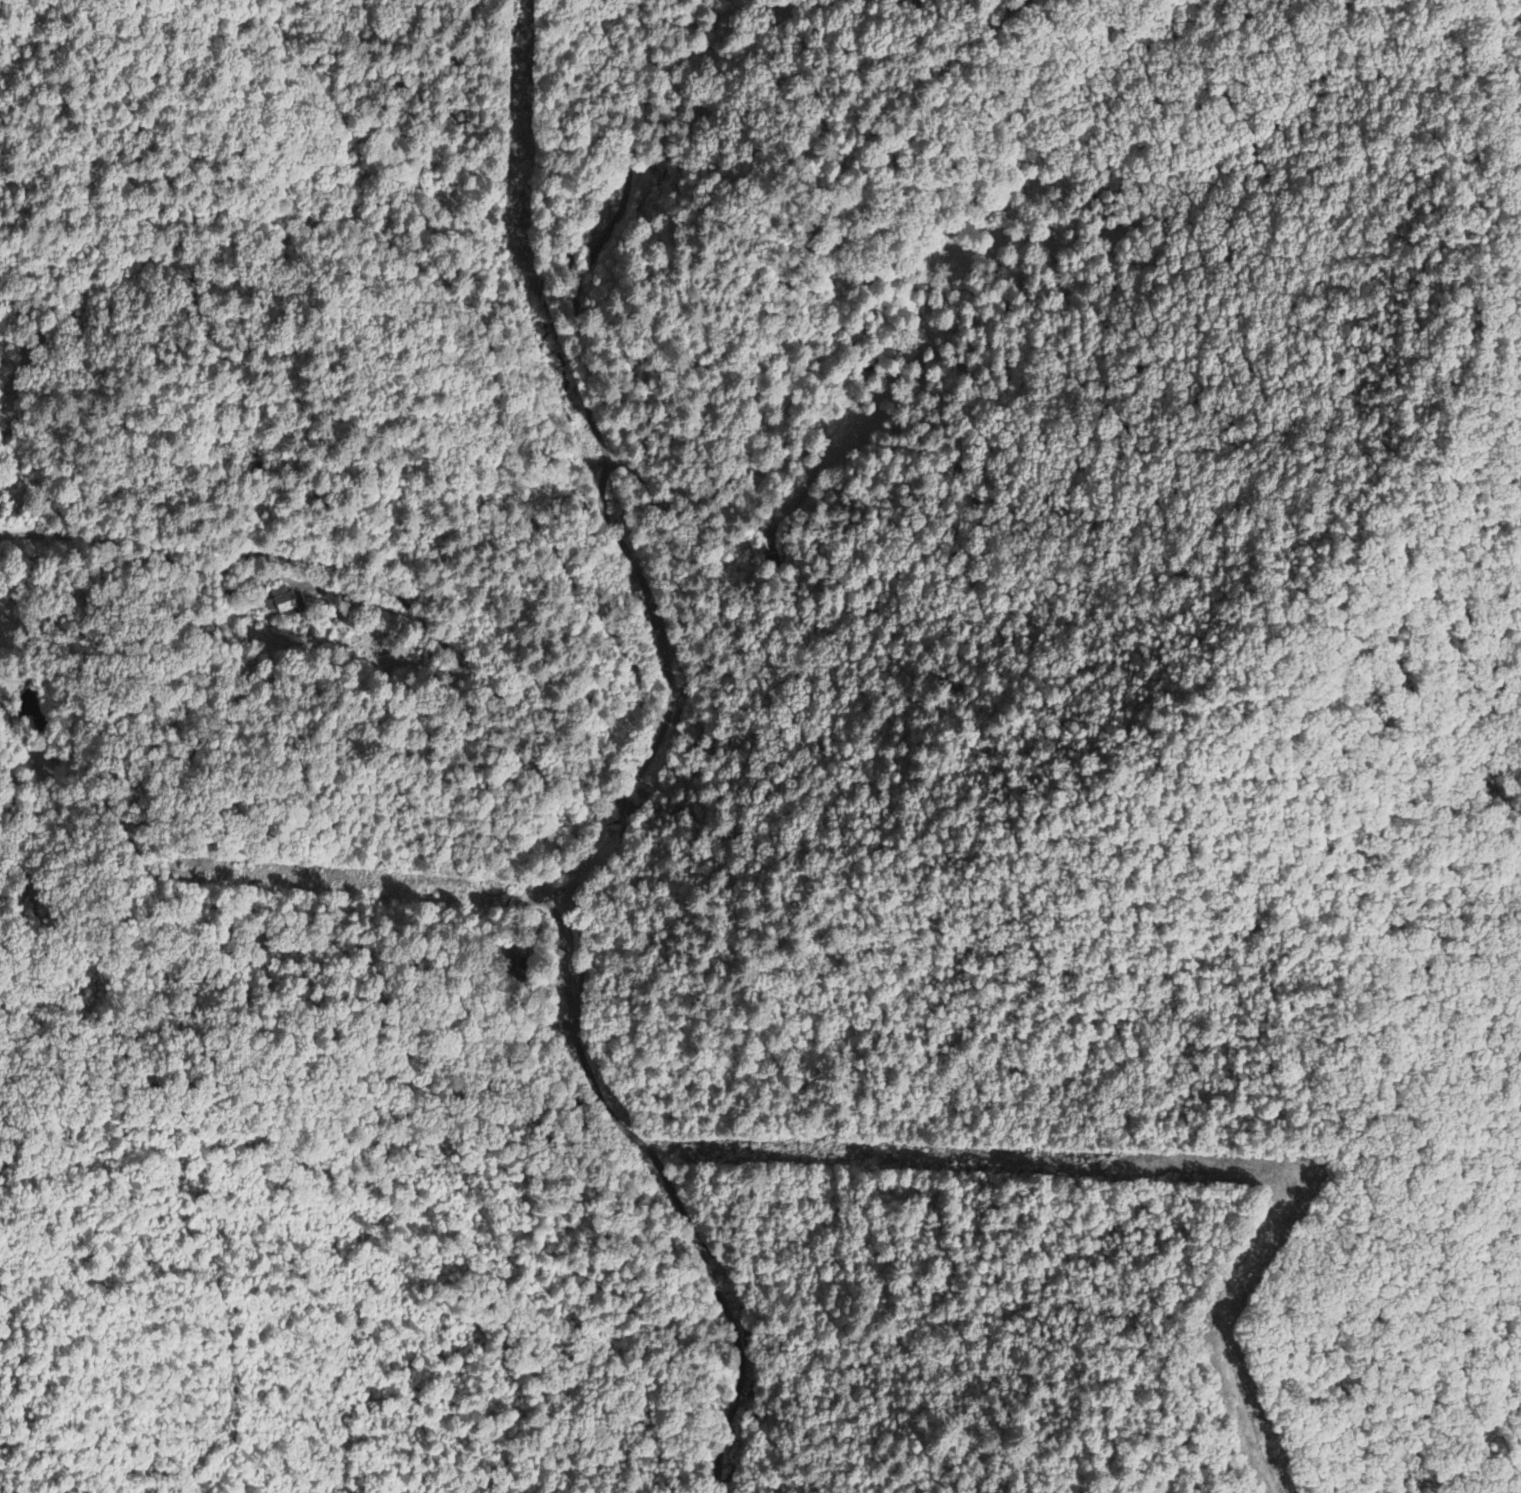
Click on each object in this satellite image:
road: (264, 587)
road: (651, 768)

